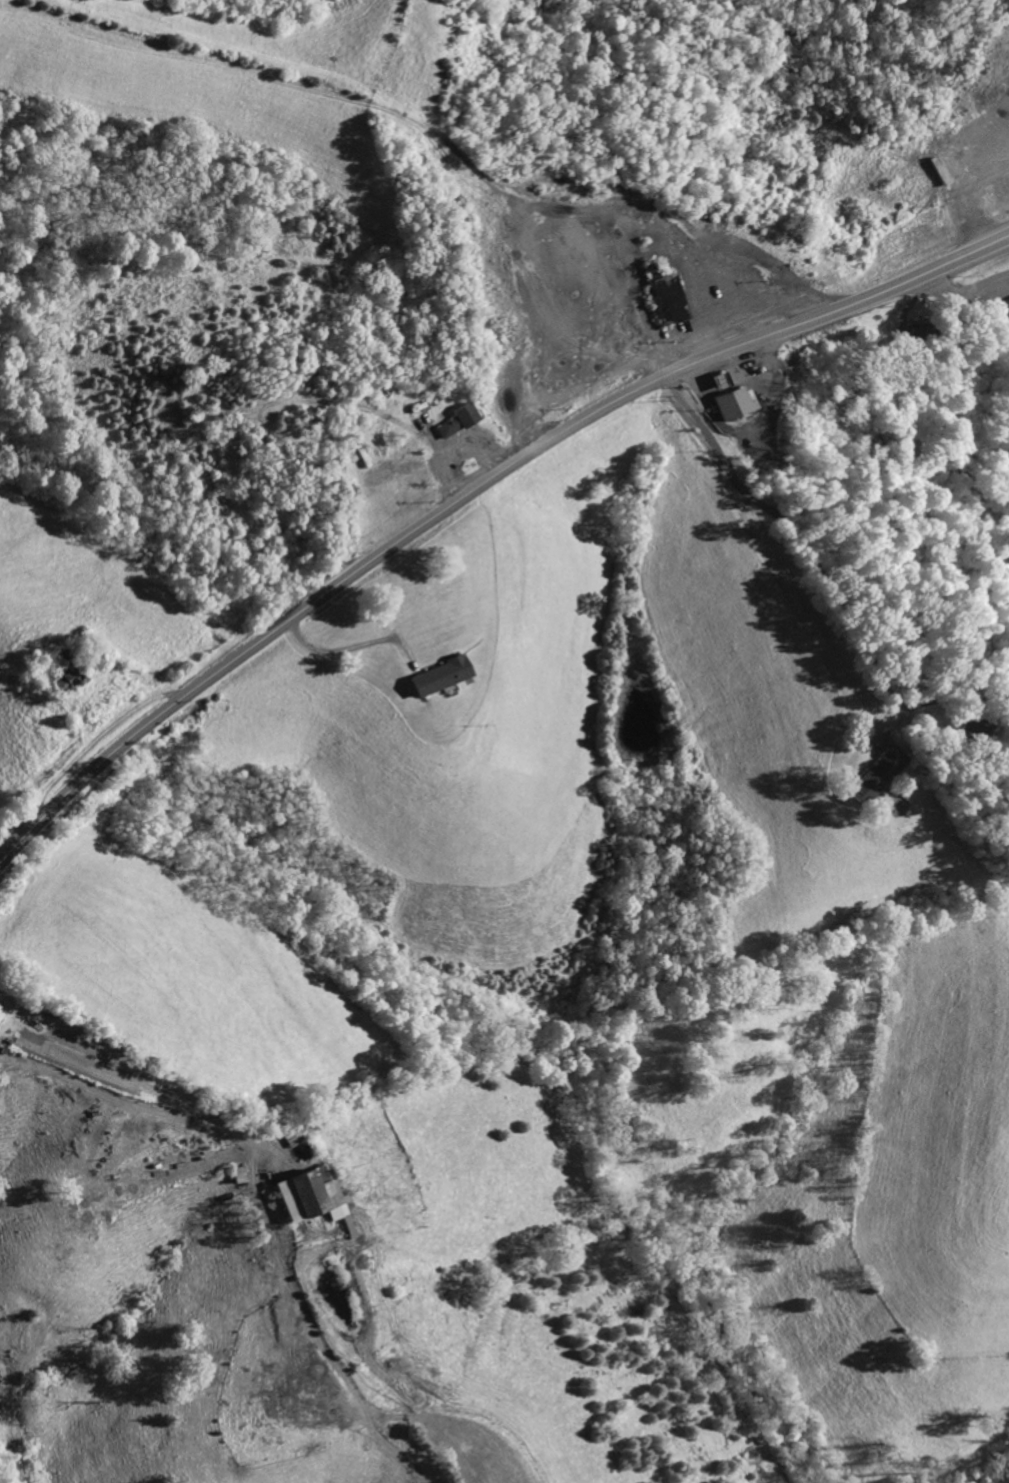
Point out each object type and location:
building: (662, 299)
building: (1001, 308)
building: (729, 404)
building: (455, 420)
road: (469, 494)
road: (771, 547)
building: (433, 677)
building: (871, 775)
building: (304, 1196)
road: (255, 1235)

